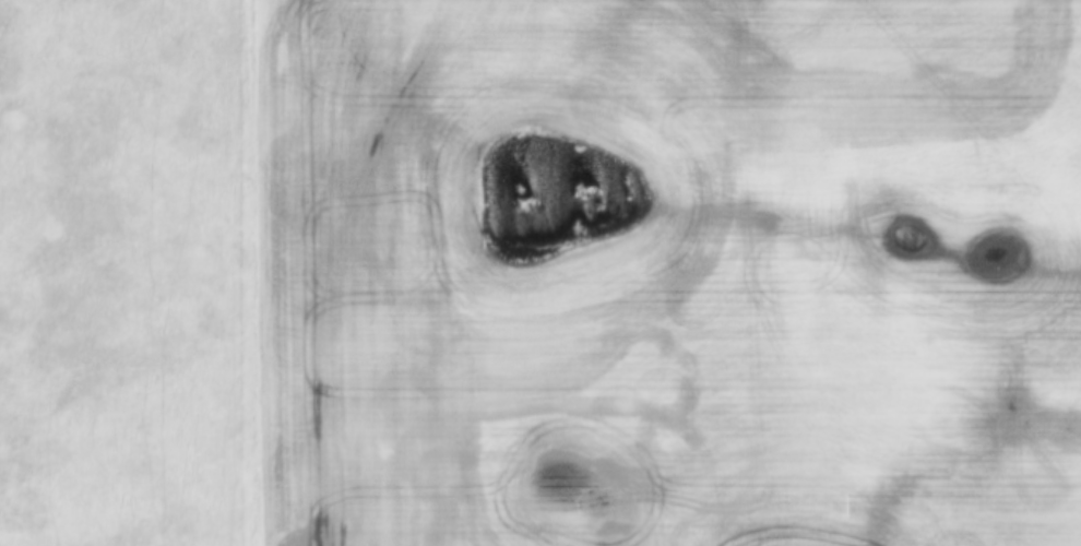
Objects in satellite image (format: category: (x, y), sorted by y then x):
road: (260, 273)

